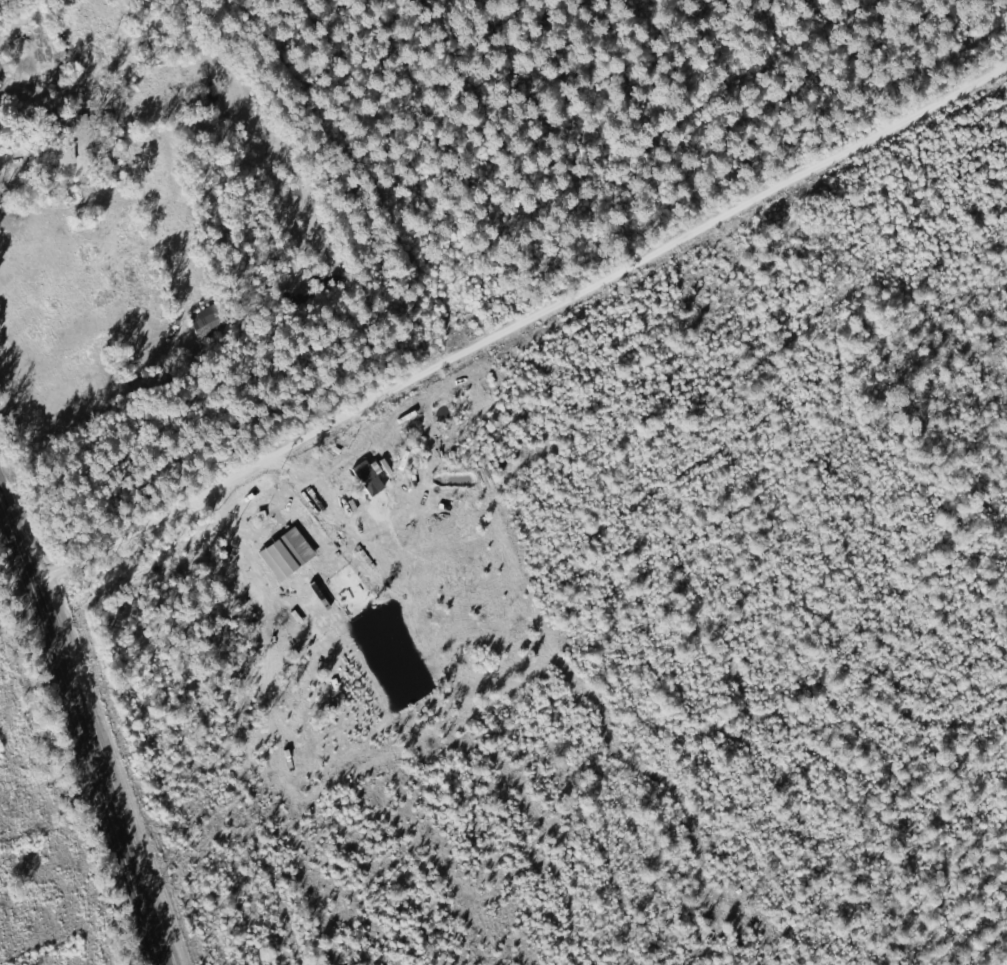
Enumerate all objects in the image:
road: (8, 148)
building: (58, 155)
building: (207, 325)
road: (504, 328)
road: (82, 733)

